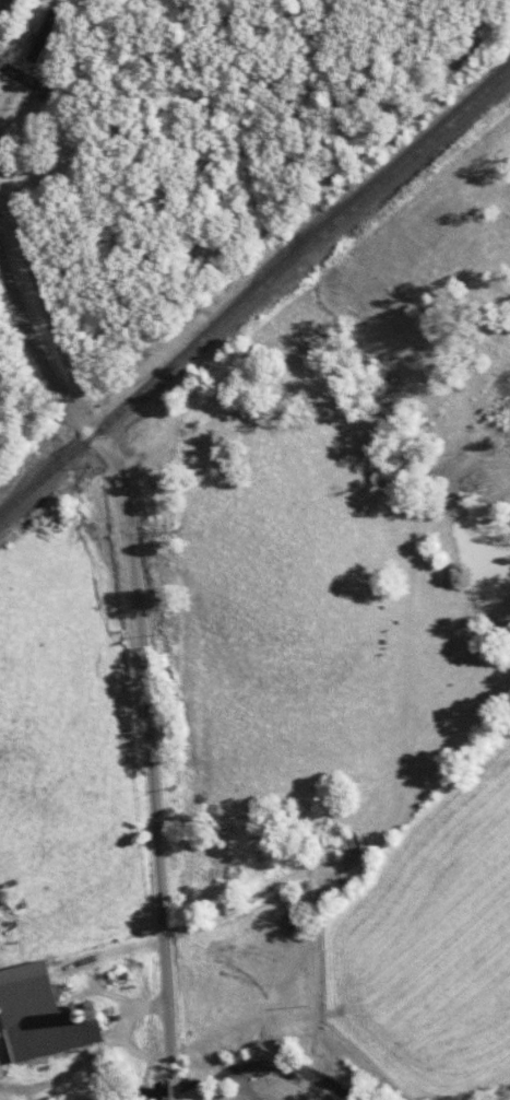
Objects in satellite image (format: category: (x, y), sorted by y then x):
road: (2, 3)
building: (50, 33)
railway: (253, 293)
road: (133, 670)

